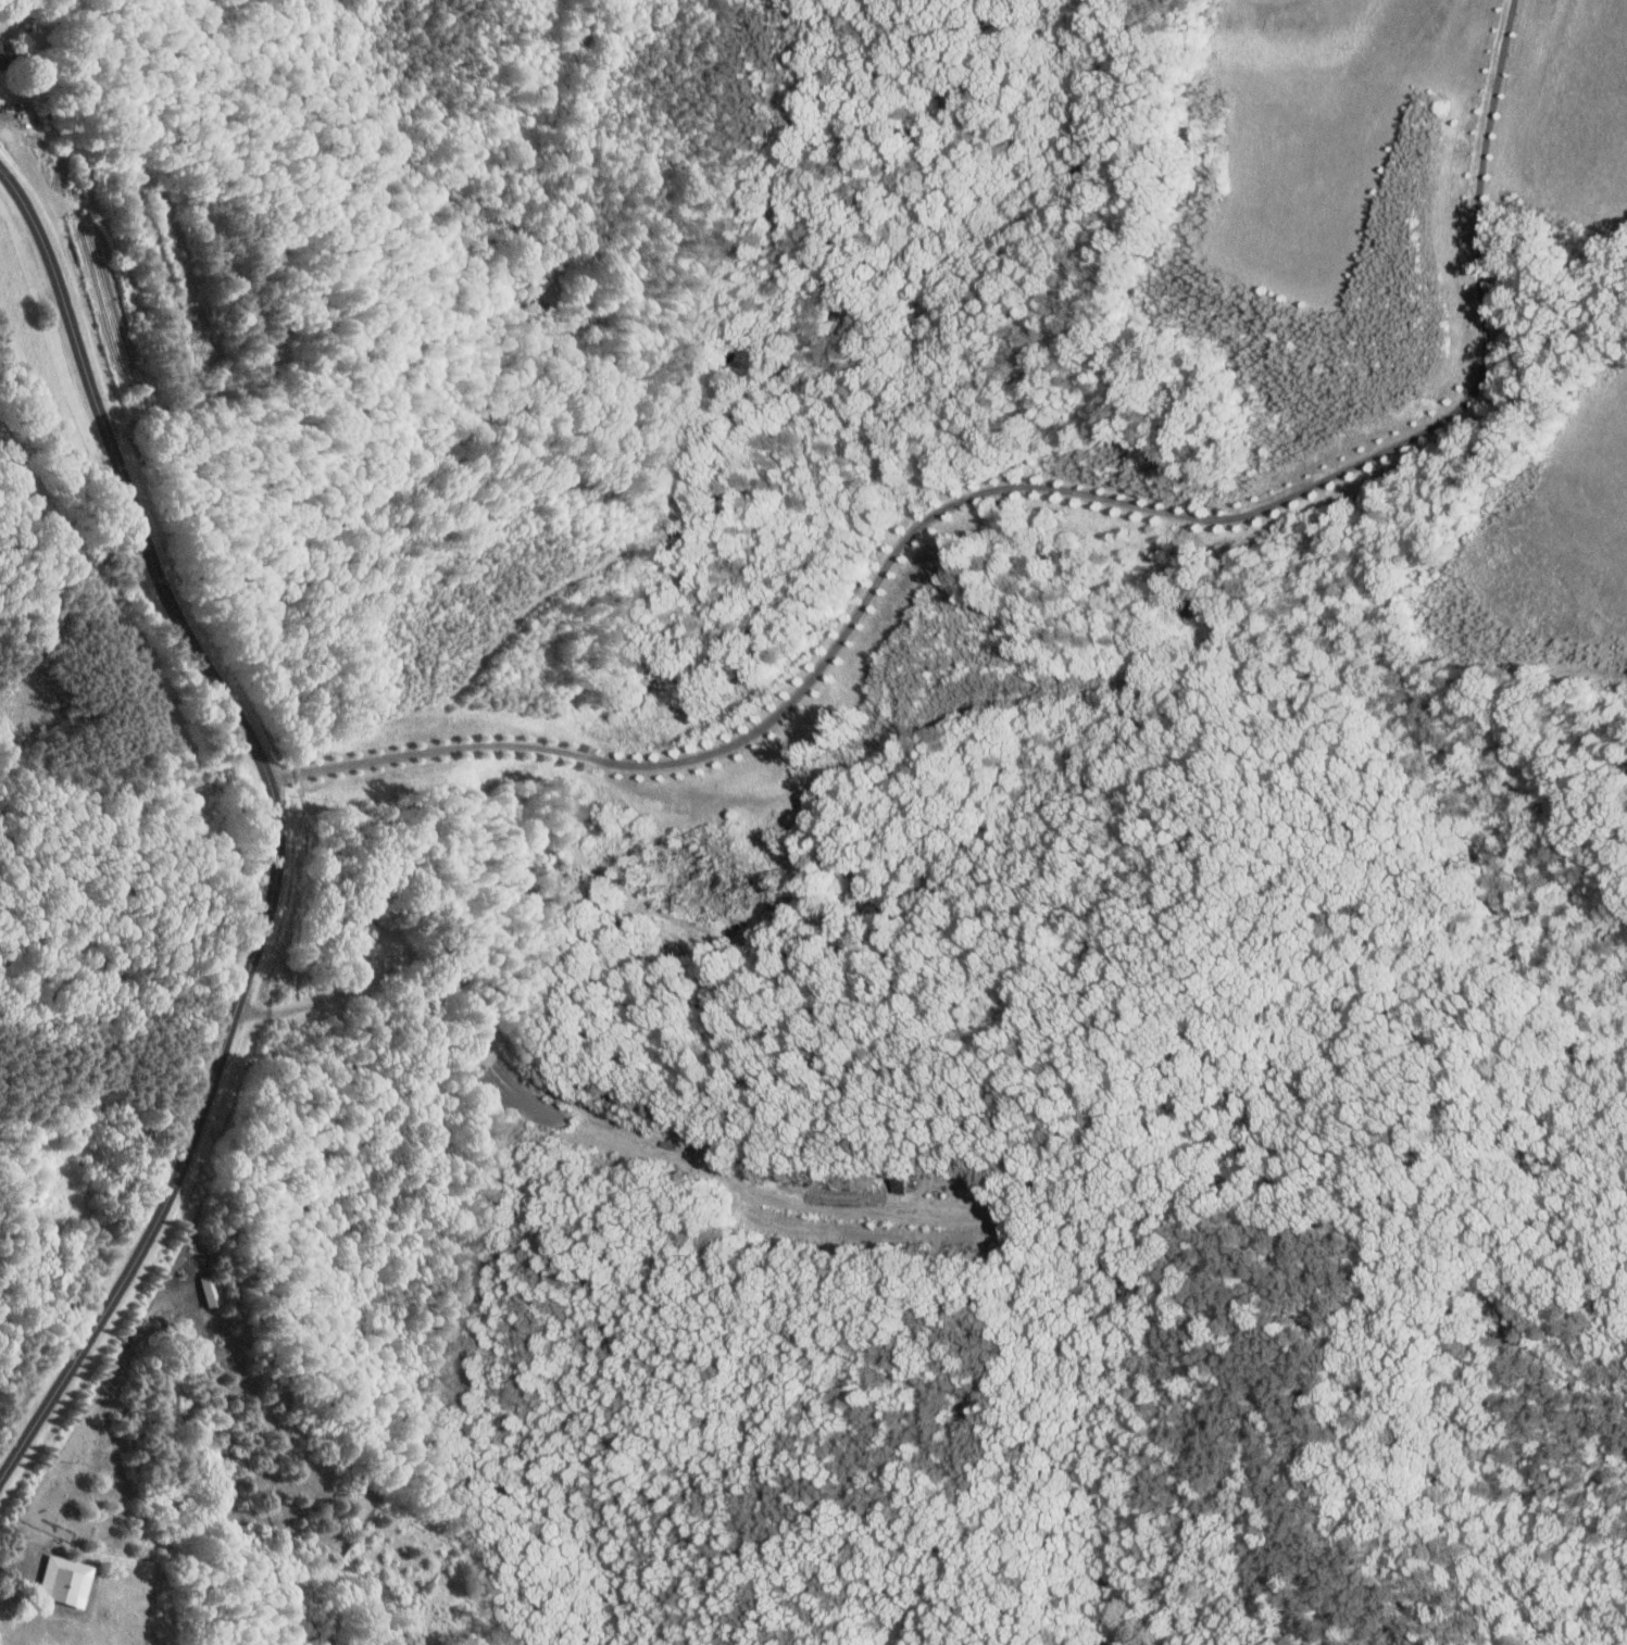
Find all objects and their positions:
building: (16, 41)
road: (275, 833)
building: (211, 1291)
building: (68, 1581)

